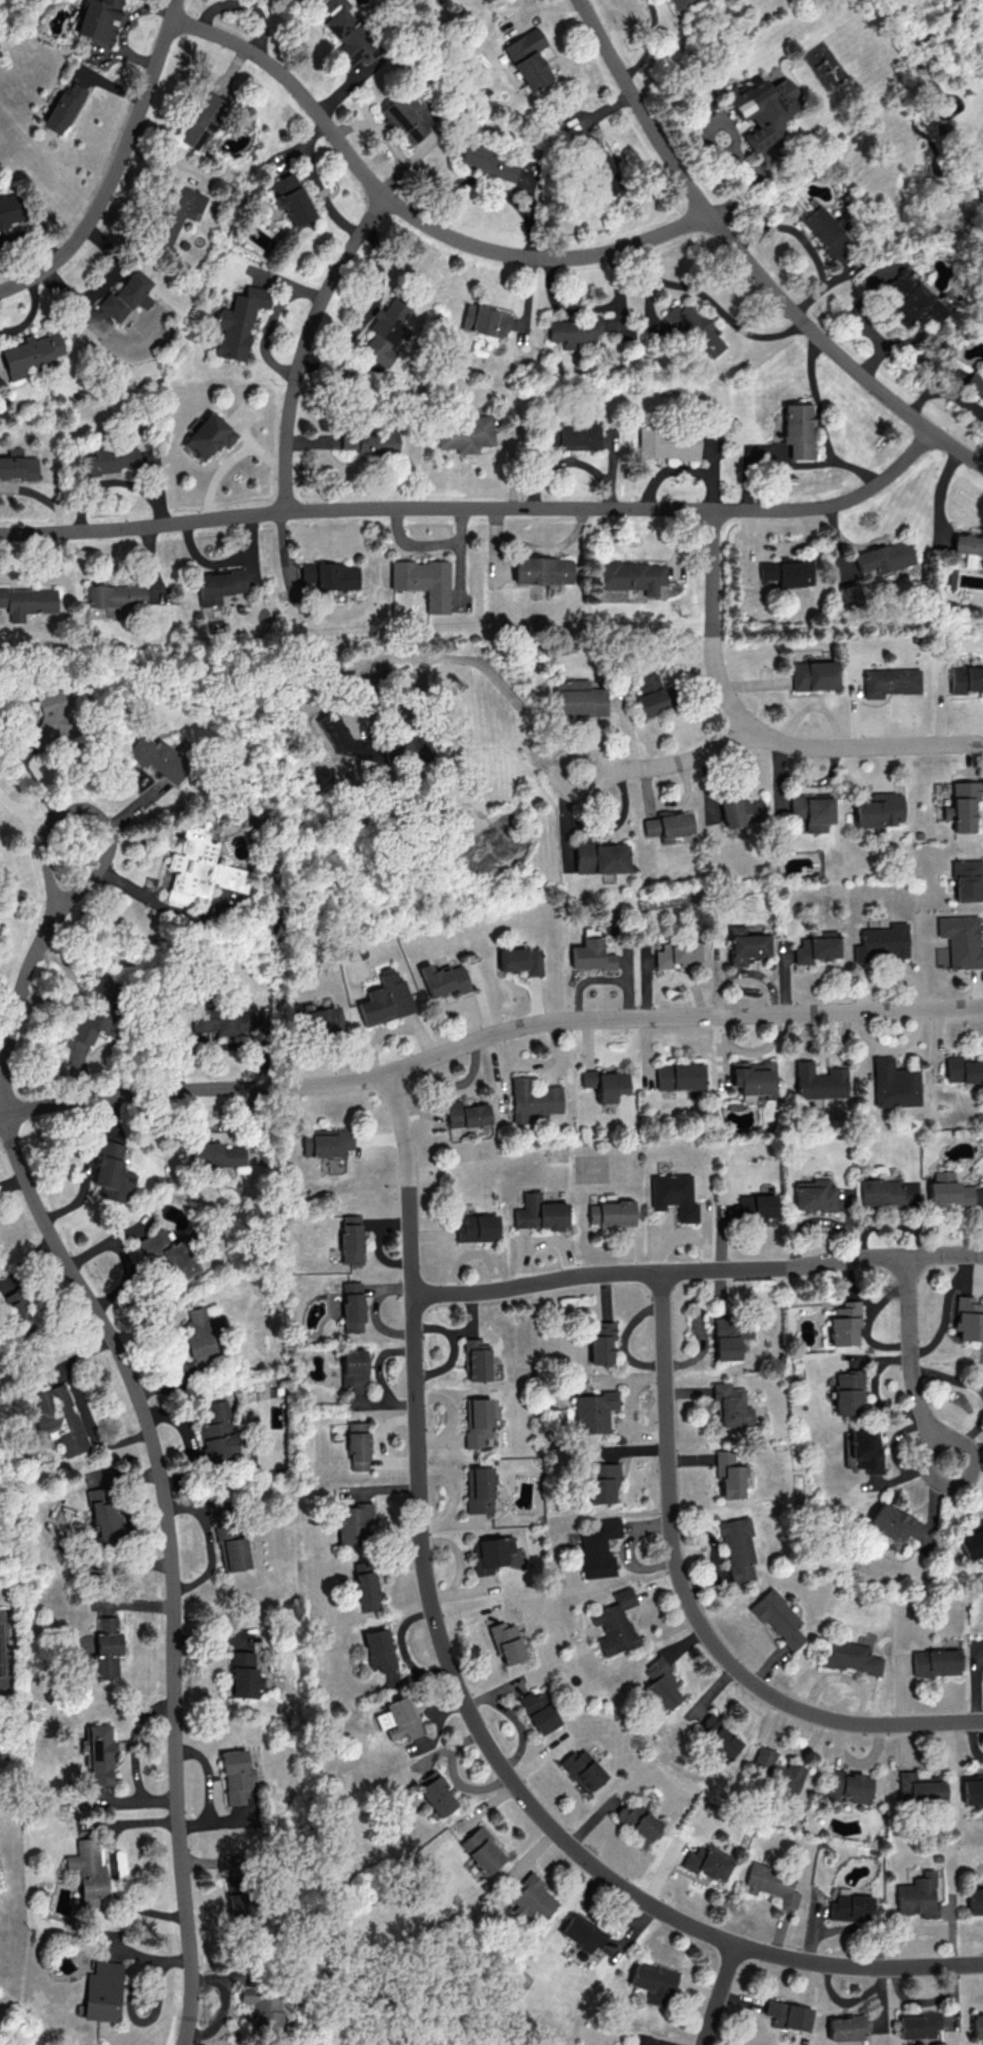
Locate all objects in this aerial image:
building: (281, 0)
building: (482, 0)
building: (97, 20)
building: (345, 33)
building: (528, 58)
building: (62, 108)
building: (761, 108)
building: (404, 119)
building: (202, 120)
building: (489, 161)
road: (120, 167)
building: (604, 173)
building: (291, 198)
building: (9, 210)
building: (176, 212)
road: (411, 212)
building: (823, 231)
road: (751, 259)
building: (127, 295)
building: (910, 301)
building: (485, 320)
building: (238, 322)
building: (694, 327)
building: (385, 330)
building: (573, 330)
road: (310, 345)
building: (30, 353)
building: (974, 384)
building: (798, 429)
building: (466, 433)
building: (208, 436)
building: (577, 436)
building: (370, 441)
building: (668, 443)
road: (829, 455)
building: (108, 459)
building: (18, 464)
road: (853, 468)
road: (480, 504)
building: (969, 547)
building: (884, 557)
building: (543, 570)
building: (788, 571)
building: (331, 575)
building: (632, 576)
building: (423, 581)
building: (218, 585)
building: (114, 595)
building: (26, 601)
road: (715, 623)
road: (398, 657)
building: (814, 675)
building: (966, 679)
building: (890, 681)
building: (580, 697)
building: (652, 701)
building: (50, 716)
road: (630, 733)
road: (789, 737)
building: (371, 742)
building: (156, 757)
road: (557, 770)
building: (962, 805)
road: (86, 807)
building: (879, 809)
building: (740, 811)
building: (811, 811)
road: (21, 812)
building: (669, 825)
building: (600, 857)
building: (199, 868)
building: (967, 880)
road: (156, 903)
building: (961, 940)
building: (882, 943)
building: (745, 945)
building: (817, 947)
building: (591, 952)
building: (676, 953)
building: (520, 959)
building: (443, 979)
building: (385, 999)
building: (97, 1010)
building: (224, 1020)
building: (320, 1021)
road: (486, 1035)
building: (962, 1070)
building: (679, 1076)
building: (754, 1077)
building: (819, 1081)
building: (604, 1083)
building: (894, 1083)
building: (533, 1099)
building: (465, 1113)
building: (326, 1142)
building: (216, 1154)
road: (87, 1164)
building: (112, 1172)
road: (12, 1182)
building: (947, 1190)
building: (879, 1192)
building: (910, 1193)
building: (674, 1195)
building: (815, 1195)
building: (755, 1207)
building: (539, 1212)
building: (611, 1212)
building: (477, 1228)
building: (351, 1238)
building: (168, 1252)
road: (124, 1257)
road: (696, 1270)
building: (352, 1306)
road: (946, 1309)
building: (17, 1310)
building: (968, 1319)
building: (844, 1324)
building: (199, 1335)
building: (730, 1336)
building: (602, 1341)
building: (476, 1360)
road: (914, 1361)
building: (353, 1369)
road: (950, 1376)
building: (847, 1391)
building: (731, 1405)
building: (594, 1411)
building: (59, 1418)
building: (477, 1421)
building: (217, 1433)
road: (965, 1439)
building: (357, 1445)
building: (861, 1449)
road: (157, 1450)
building: (729, 1473)
building: (602, 1482)
building: (478, 1489)
building: (103, 1514)
building: (891, 1522)
building: (351, 1523)
building: (971, 1542)
building: (231, 1547)
building: (598, 1548)
building: (737, 1548)
building: (490, 1554)
building: (364, 1585)
road: (692, 1606)
building: (778, 1617)
building: (614, 1622)
building: (506, 1643)
building: (107, 1647)
building: (378, 1649)
building: (848, 1656)
building: (936, 1662)
building: (243, 1674)
building: (661, 1682)
road: (464, 1695)
building: (538, 1711)
building: (398, 1718)
building: (717, 1735)
building: (99, 1754)
building: (582, 1770)
building: (778, 1771)
building: (235, 1776)
building: (847, 1786)
building: (921, 1787)
building: (972, 1787)
road: (209, 1790)
building: (435, 1793)
building: (638, 1820)
building: (481, 1849)
building: (708, 1862)
building: (87, 1871)
building: (771, 1883)
building: (235, 1890)
building: (918, 1896)
building: (532, 1897)
building: (975, 1900)
building: (849, 1906)
building: (581, 1933)
building: (652, 1981)
building: (103, 1991)
road: (722, 1994)
building: (263, 2011)
building: (788, 2015)
building: (918, 2024)
building: (977, 2025)
building: (847, 2026)

